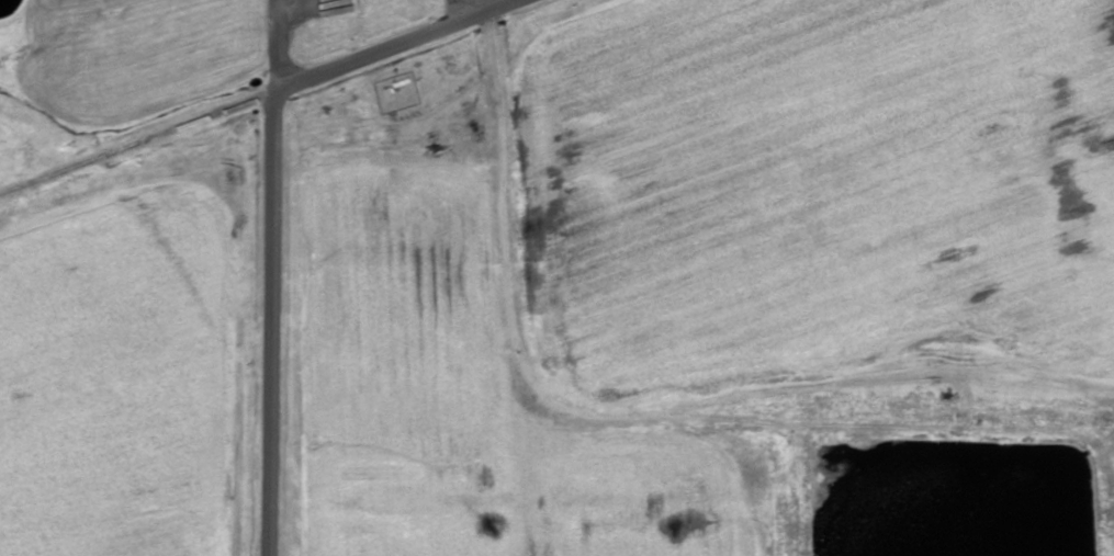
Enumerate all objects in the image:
road: (216, 93)
road: (269, 315)

